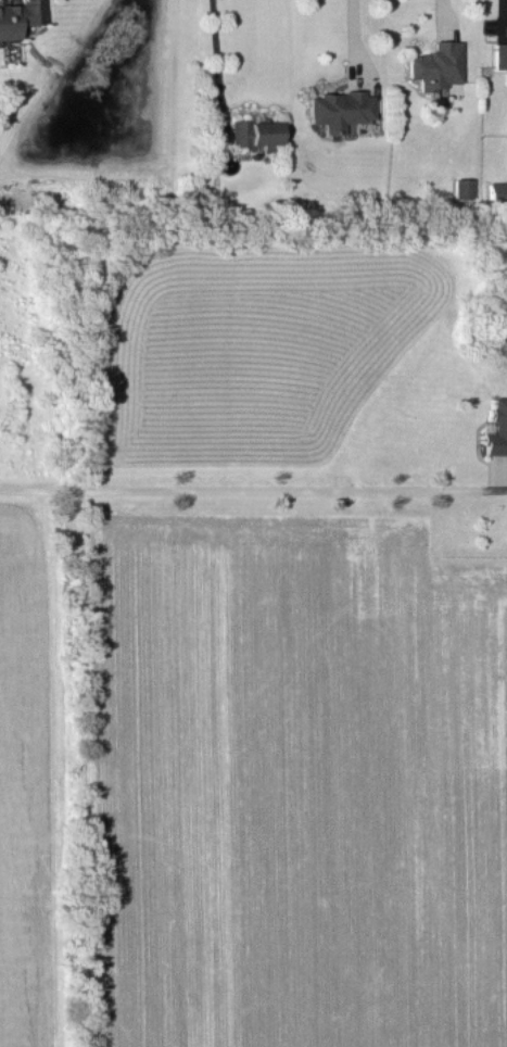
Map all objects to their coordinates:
building: (16, 16)
road: (354, 35)
road: (214, 51)
building: (498, 53)
building: (433, 64)
building: (337, 108)
building: (460, 187)
building: (495, 190)
building: (496, 427)
road: (252, 489)

